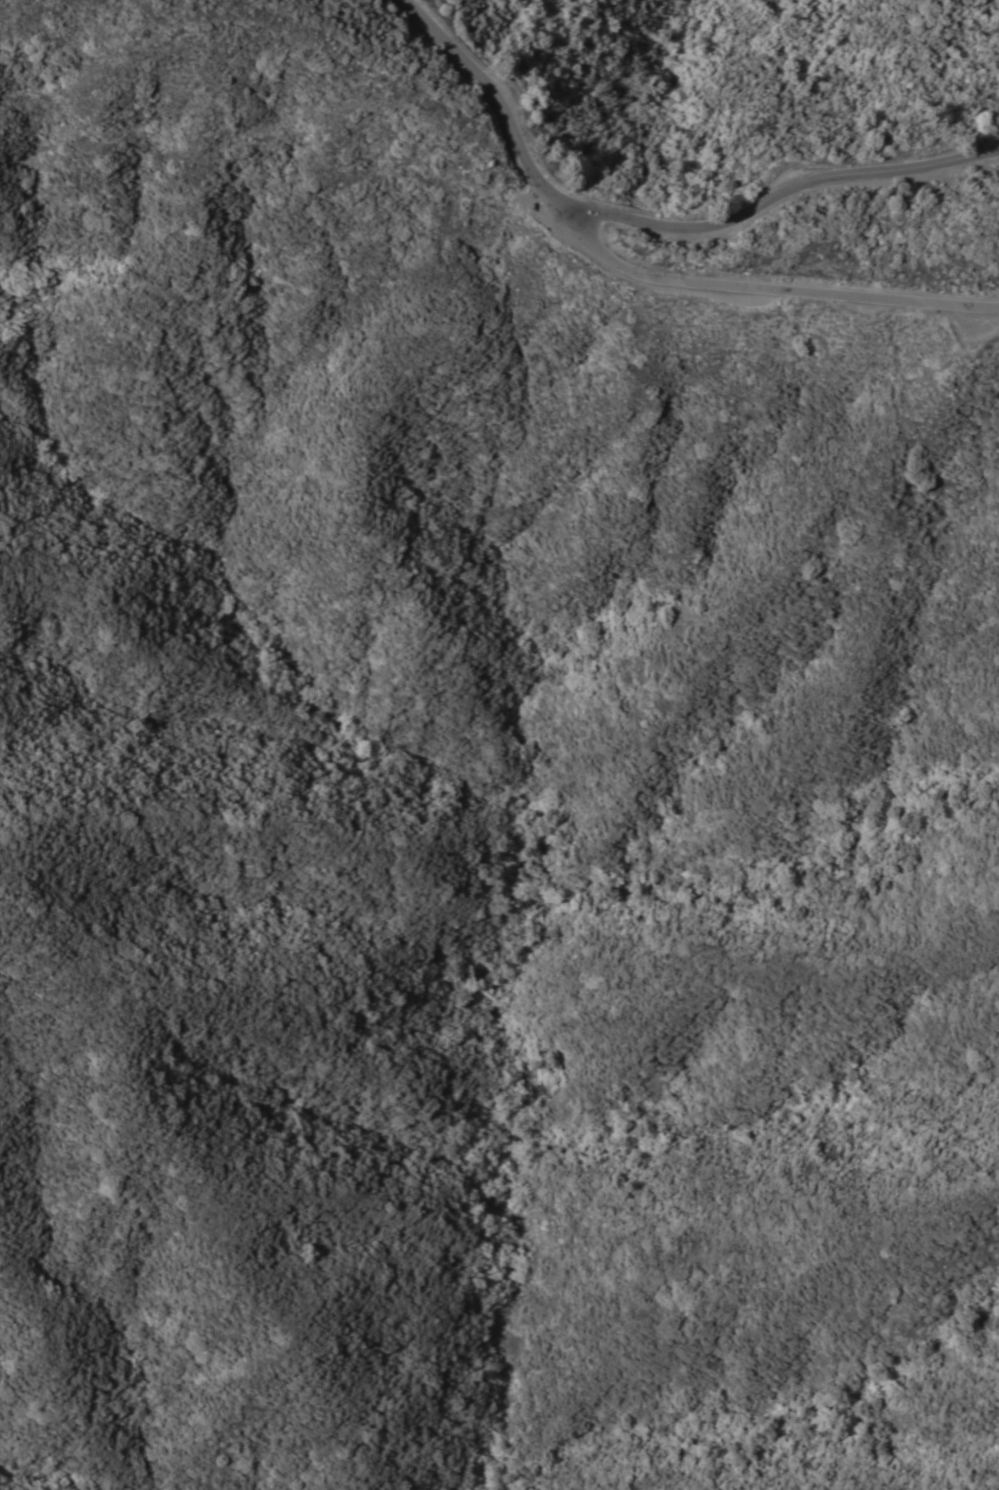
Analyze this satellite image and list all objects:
road: (657, 226)
road: (771, 289)

